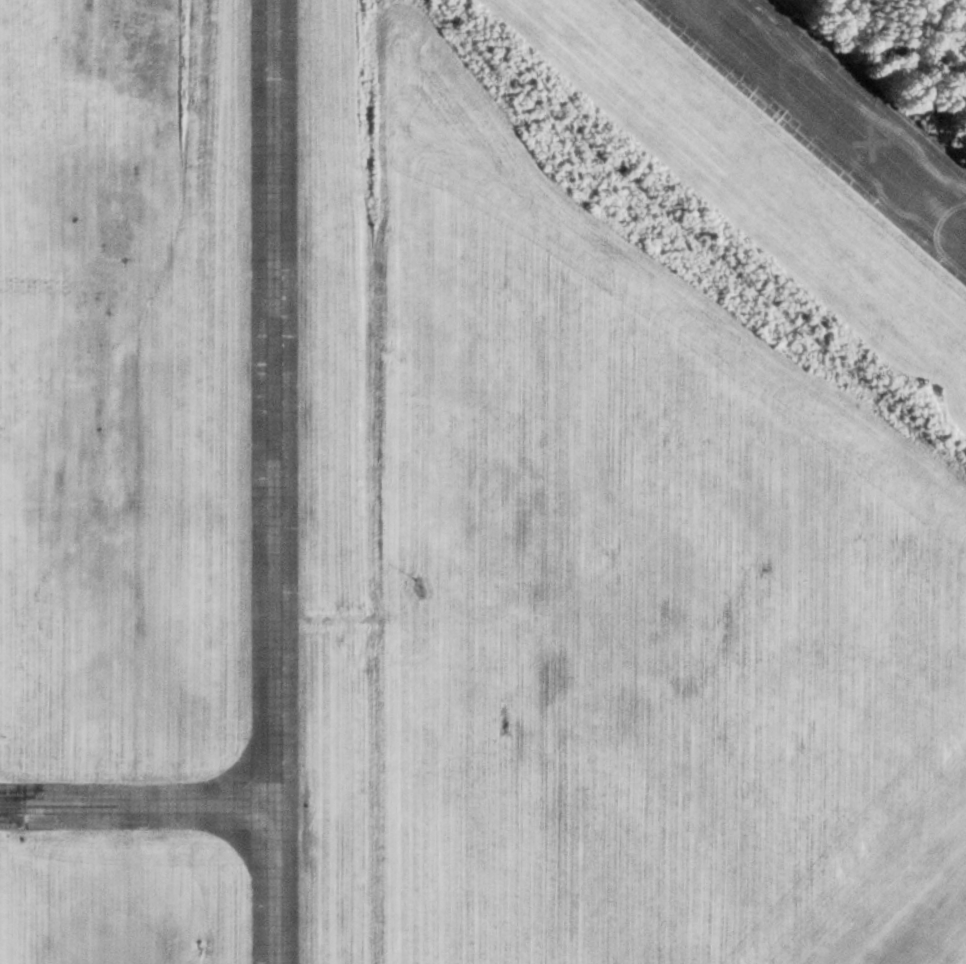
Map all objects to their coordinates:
airport taxiway: (273, 482)
airport: (483, 482)
airport taxiway: (137, 806)

